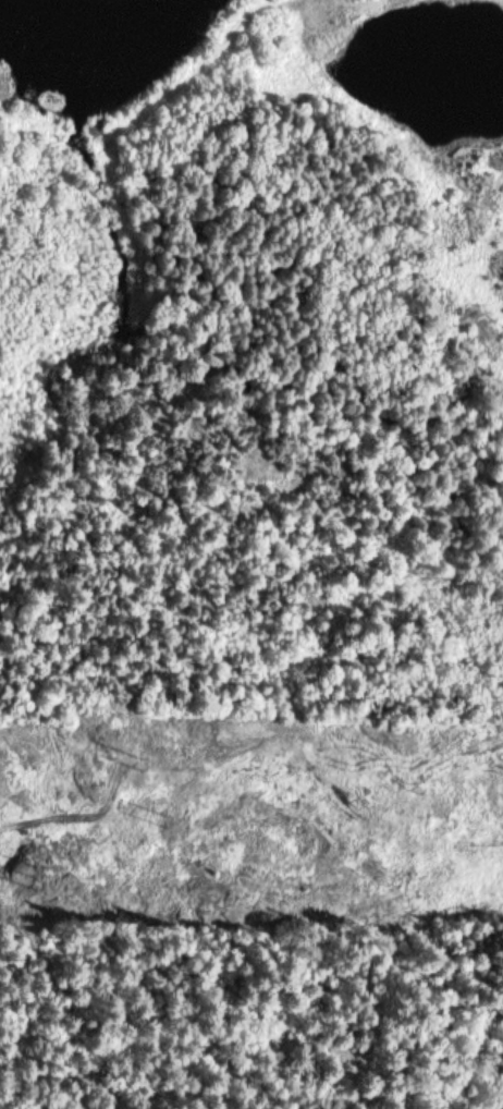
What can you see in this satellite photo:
power tower: (145, 760)
power tower: (172, 817)
power tower: (29, 880)

